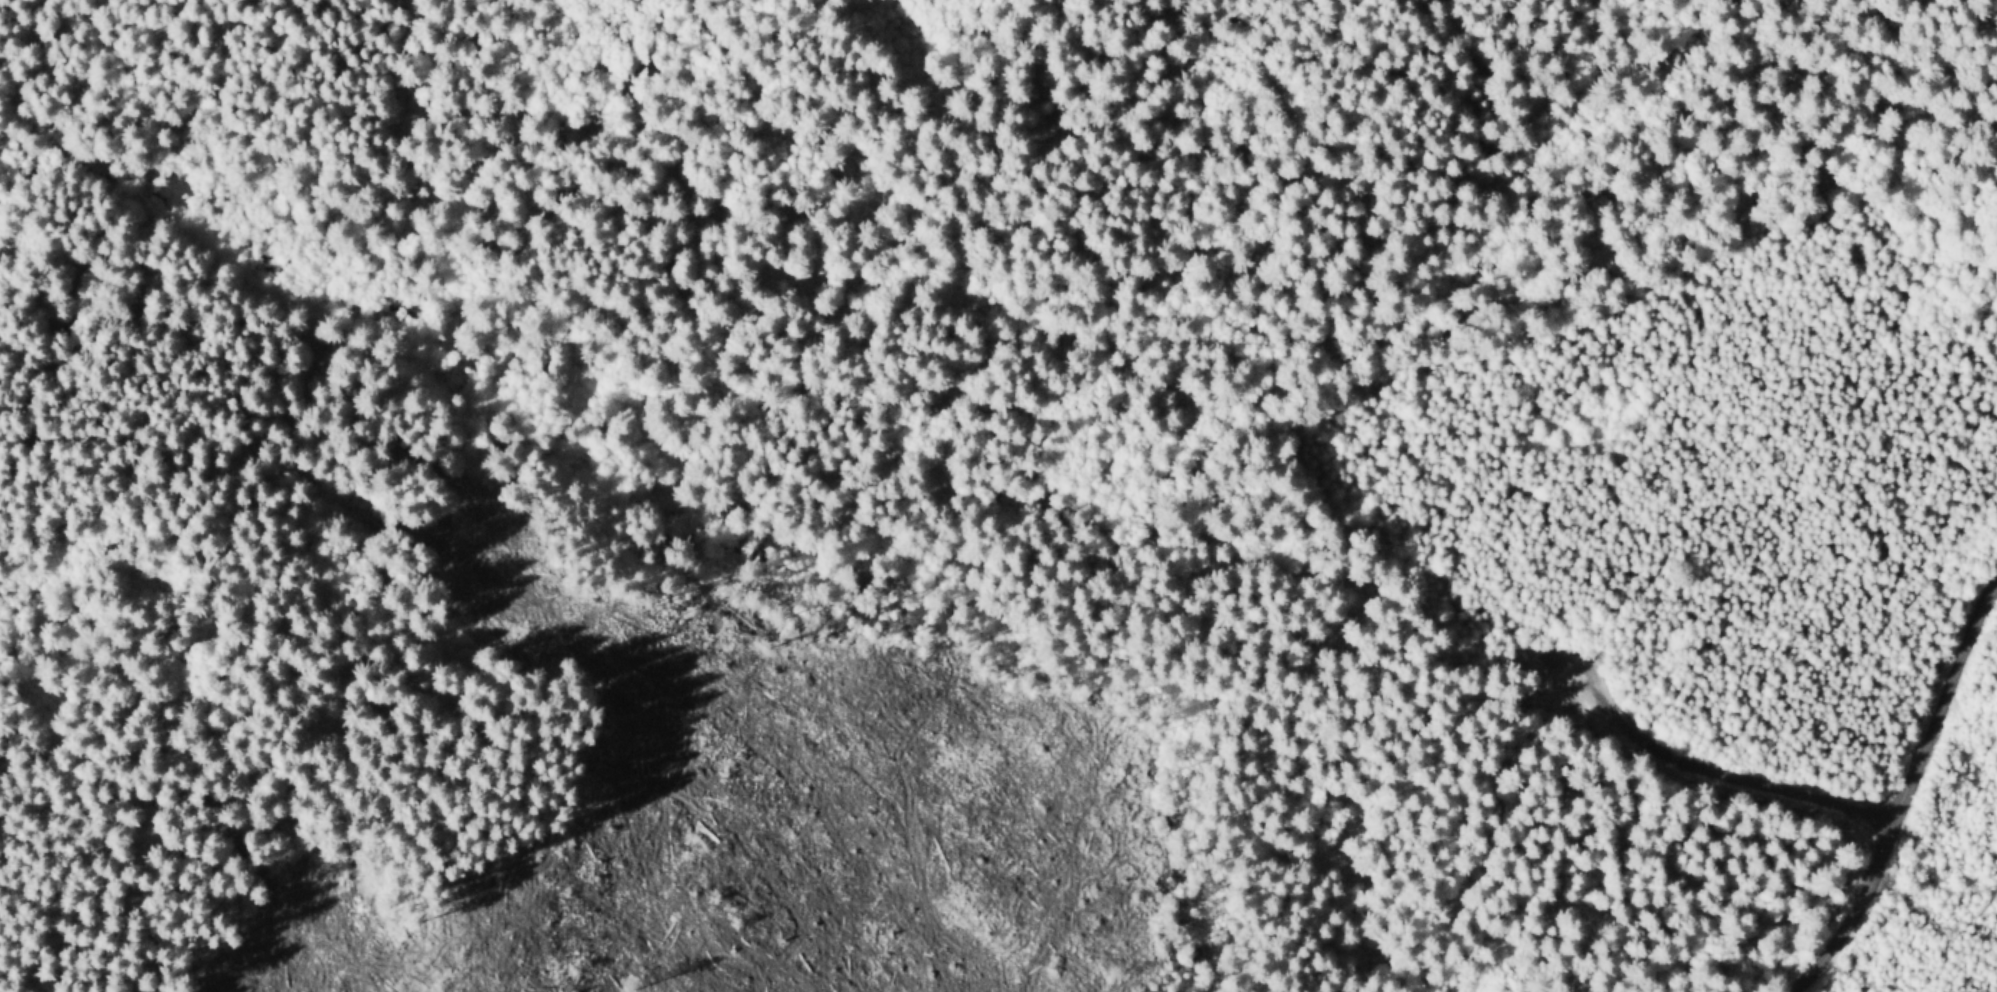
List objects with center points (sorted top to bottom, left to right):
road: (1905, 797)

